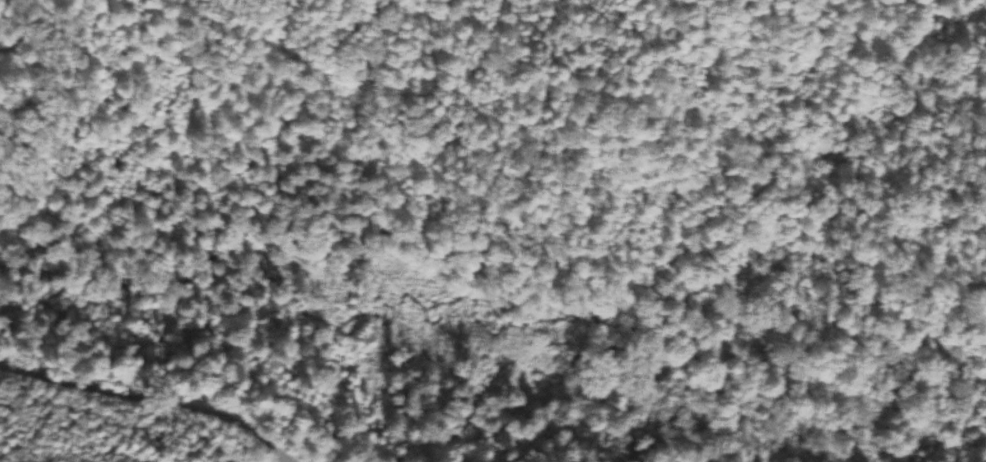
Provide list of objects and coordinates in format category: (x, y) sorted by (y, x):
road: (149, 404)

